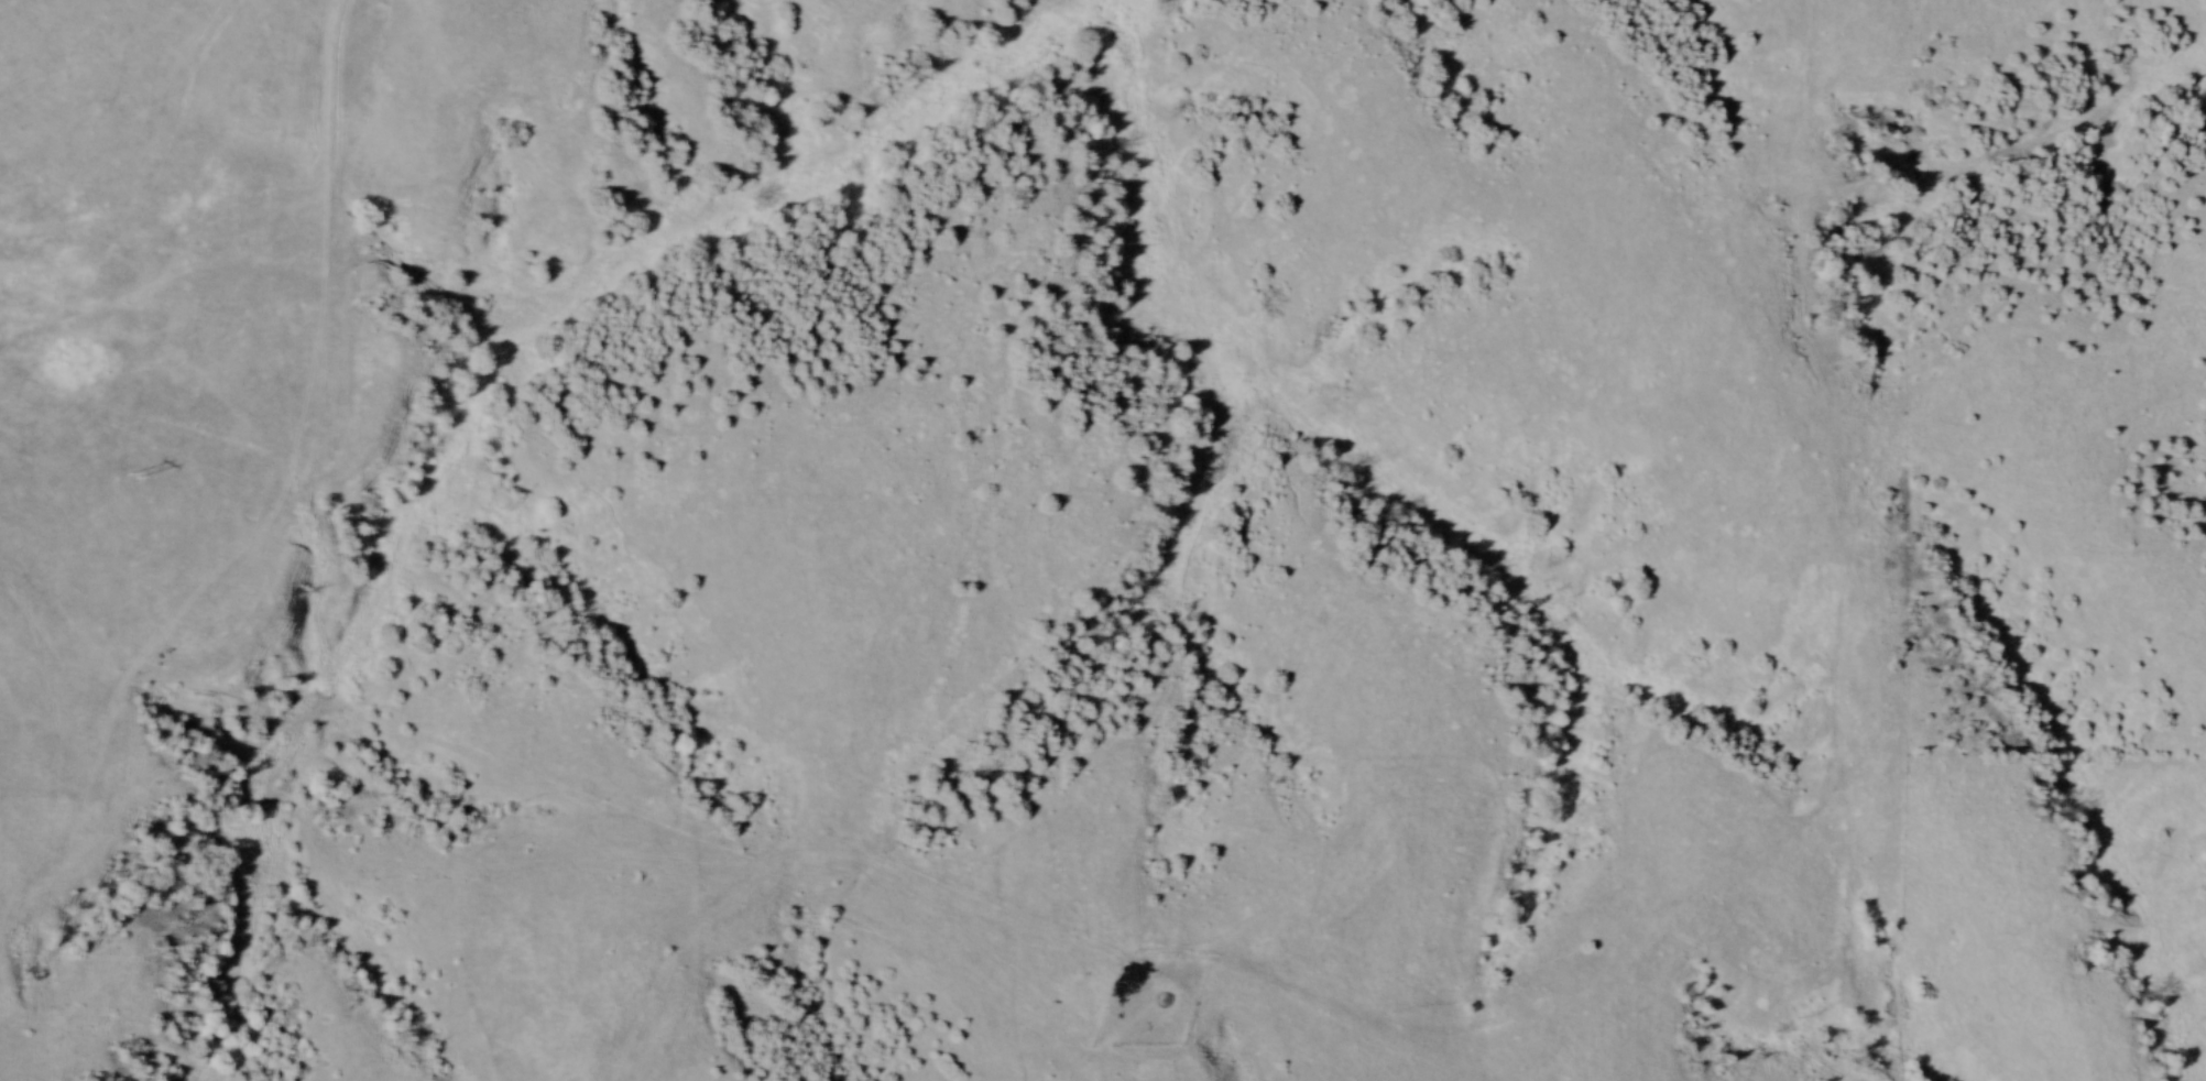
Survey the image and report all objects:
power tower: (131, 477)

